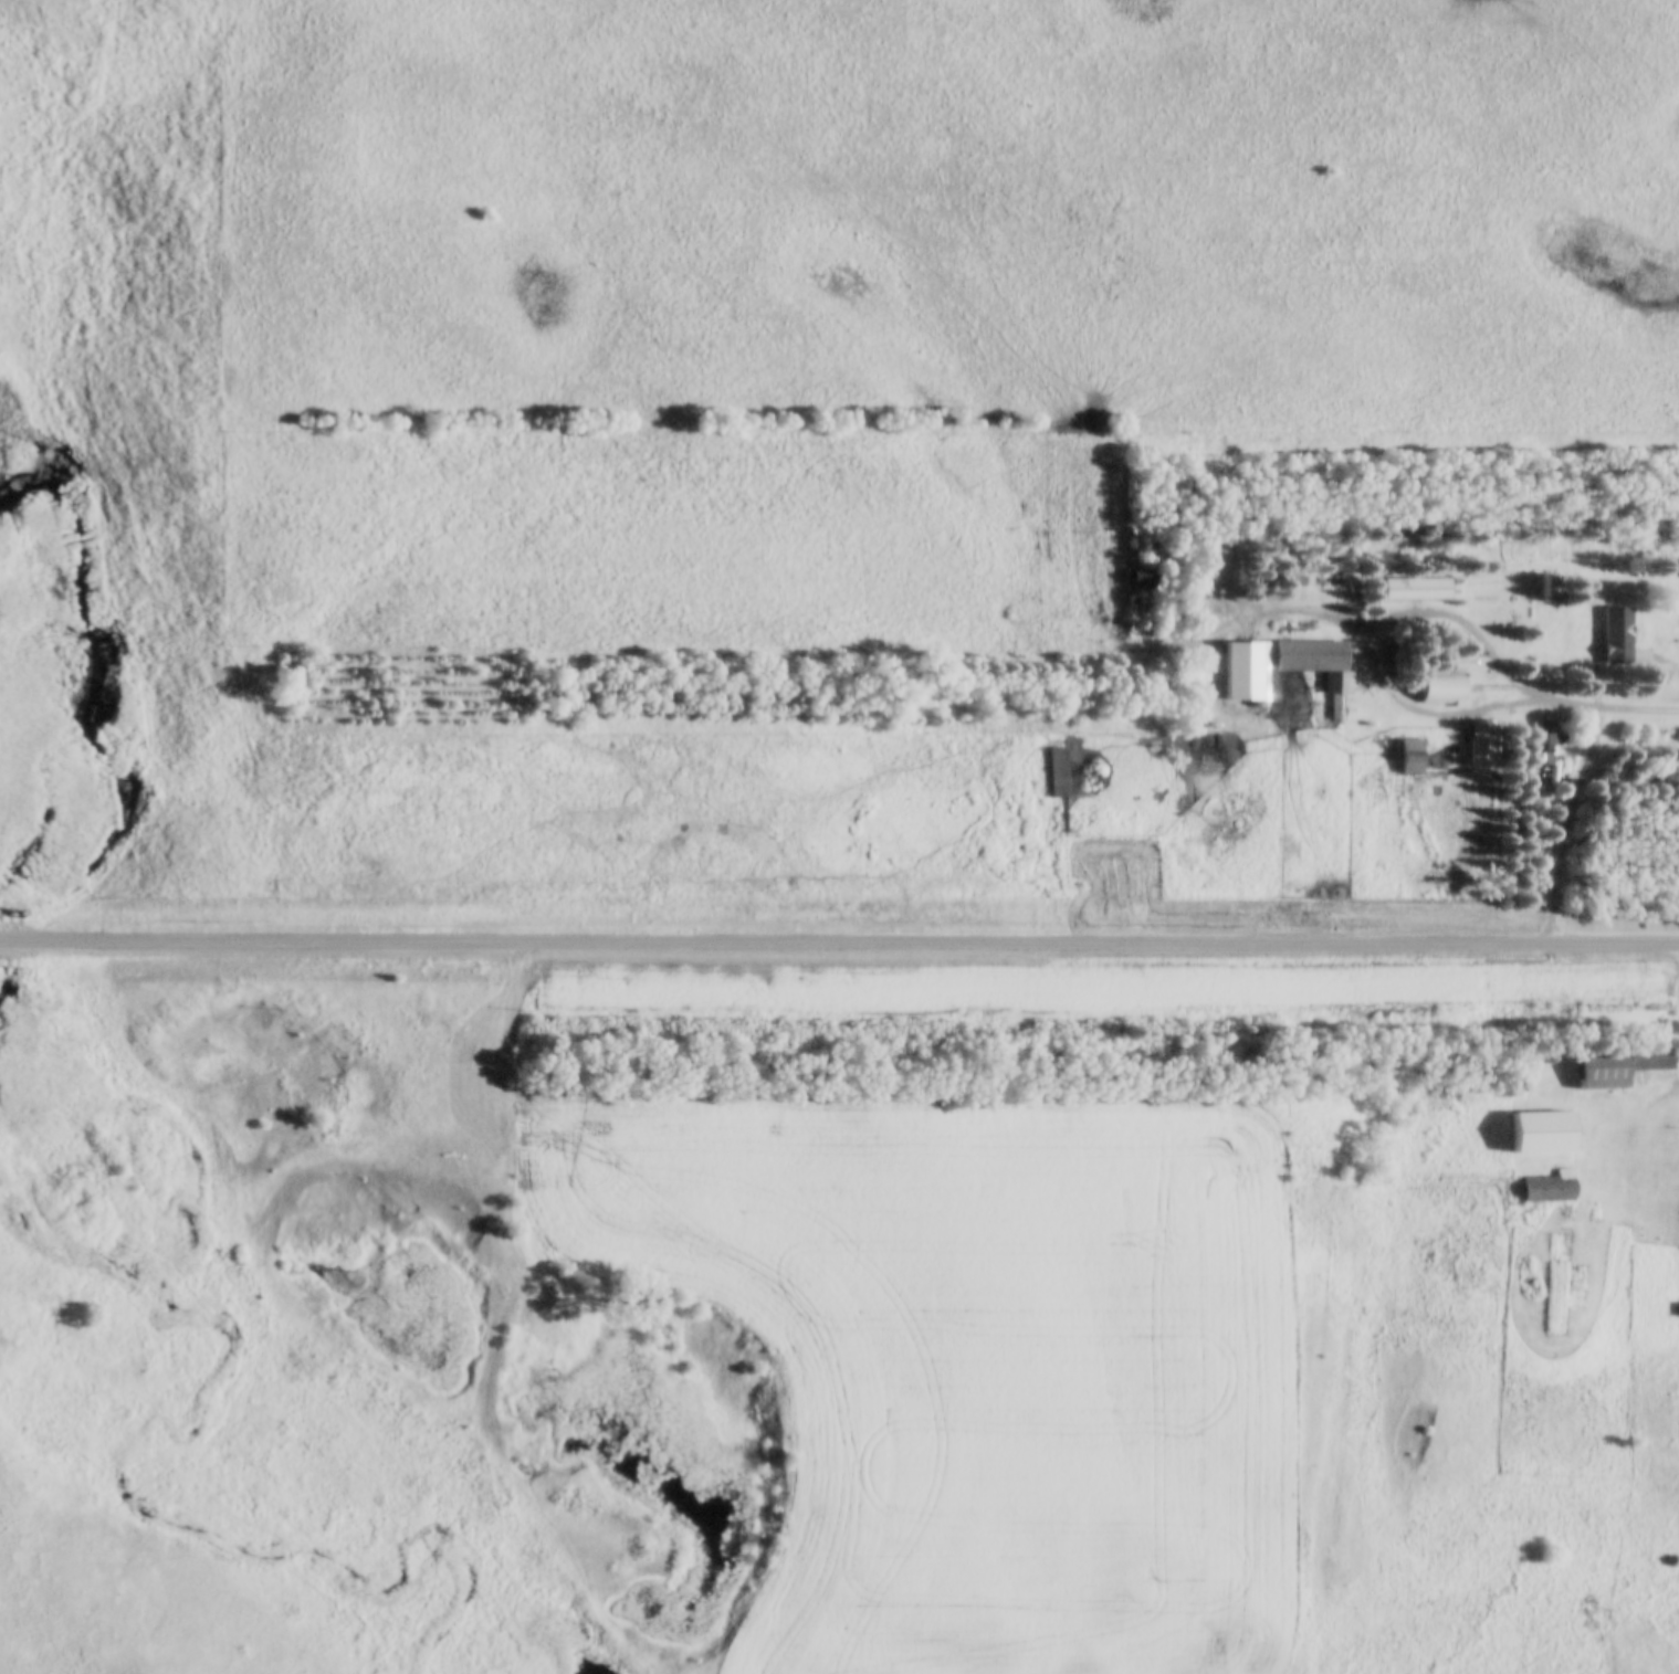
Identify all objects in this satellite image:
building: (1137, 577)
building: (1547, 588)
building: (1414, 589)
building: (1615, 635)
building: (1314, 661)
building: (1243, 671)
building: (1442, 686)
river: (83, 706)
road: (1430, 716)
building: (1482, 744)
building: (1543, 751)
building: (1408, 757)
building: (1054, 772)
road: (1575, 828)
road: (839, 944)
building: (1649, 1057)
building: (1602, 1067)
building: (1542, 1131)
building: (1544, 1190)
river: (109, 1496)

